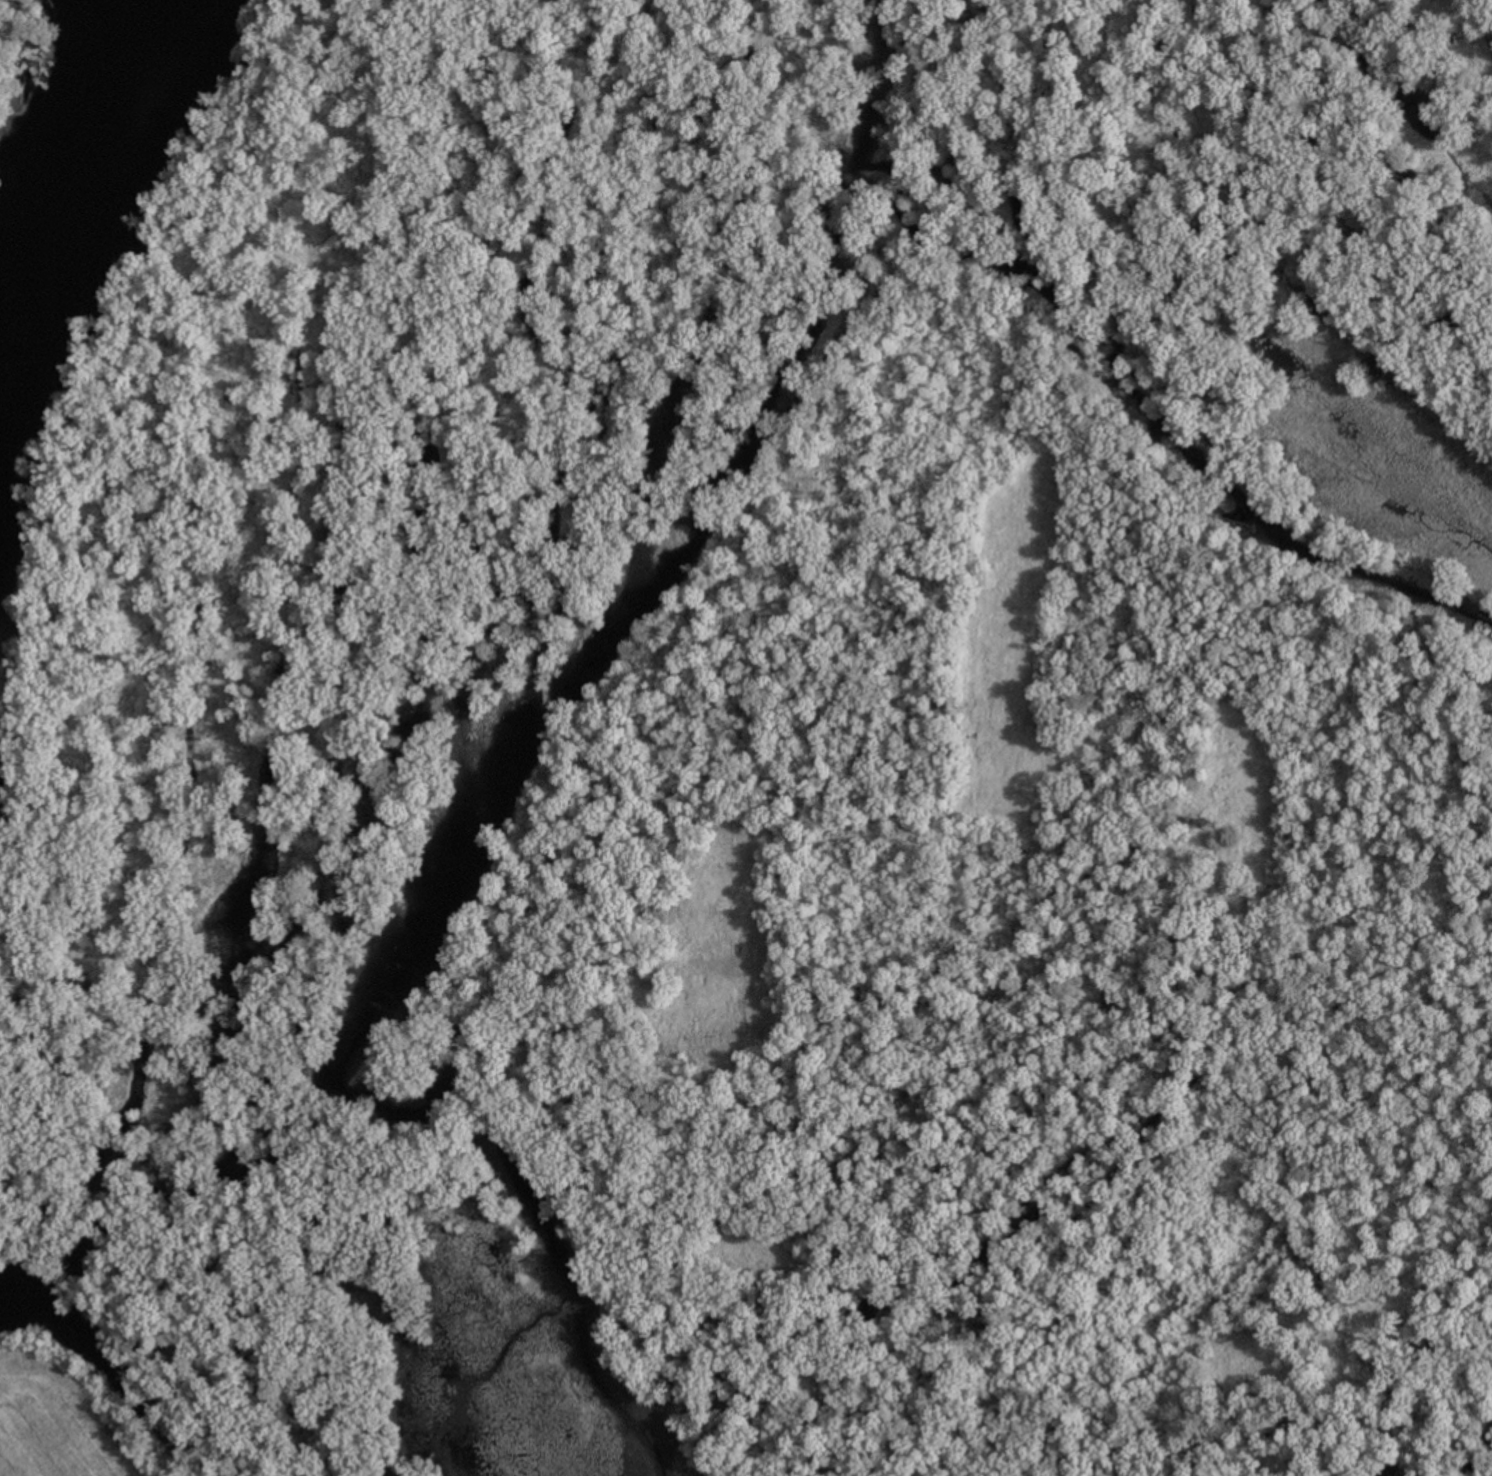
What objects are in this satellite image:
river: (73, 184)

